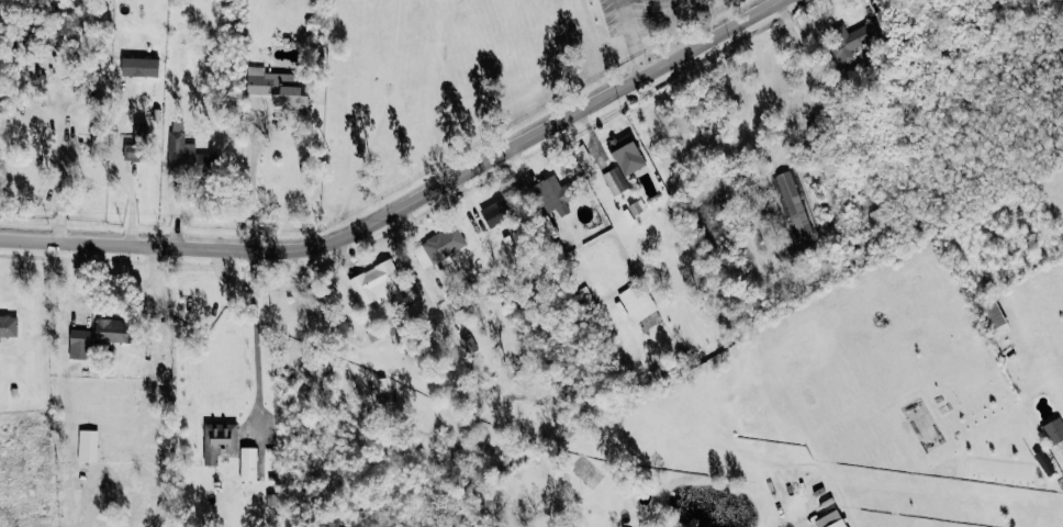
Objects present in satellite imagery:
road: (673, 26)
building: (851, 41)
building: (139, 67)
building: (90, 75)
road: (806, 76)
building: (38, 77)
building: (277, 88)
building: (180, 147)
building: (626, 154)
road: (61, 172)
building: (615, 180)
road: (253, 186)
building: (552, 195)
road: (411, 204)
building: (794, 204)
building: (637, 208)
building: (495, 213)
building: (444, 245)
building: (376, 282)
building: (637, 302)
building: (993, 313)
building: (649, 322)
building: (8, 326)
building: (112, 330)
road: (255, 339)
building: (78, 344)
building: (1054, 431)
building: (219, 441)
building: (88, 446)
building: (1044, 463)
building: (248, 464)
building: (832, 519)

